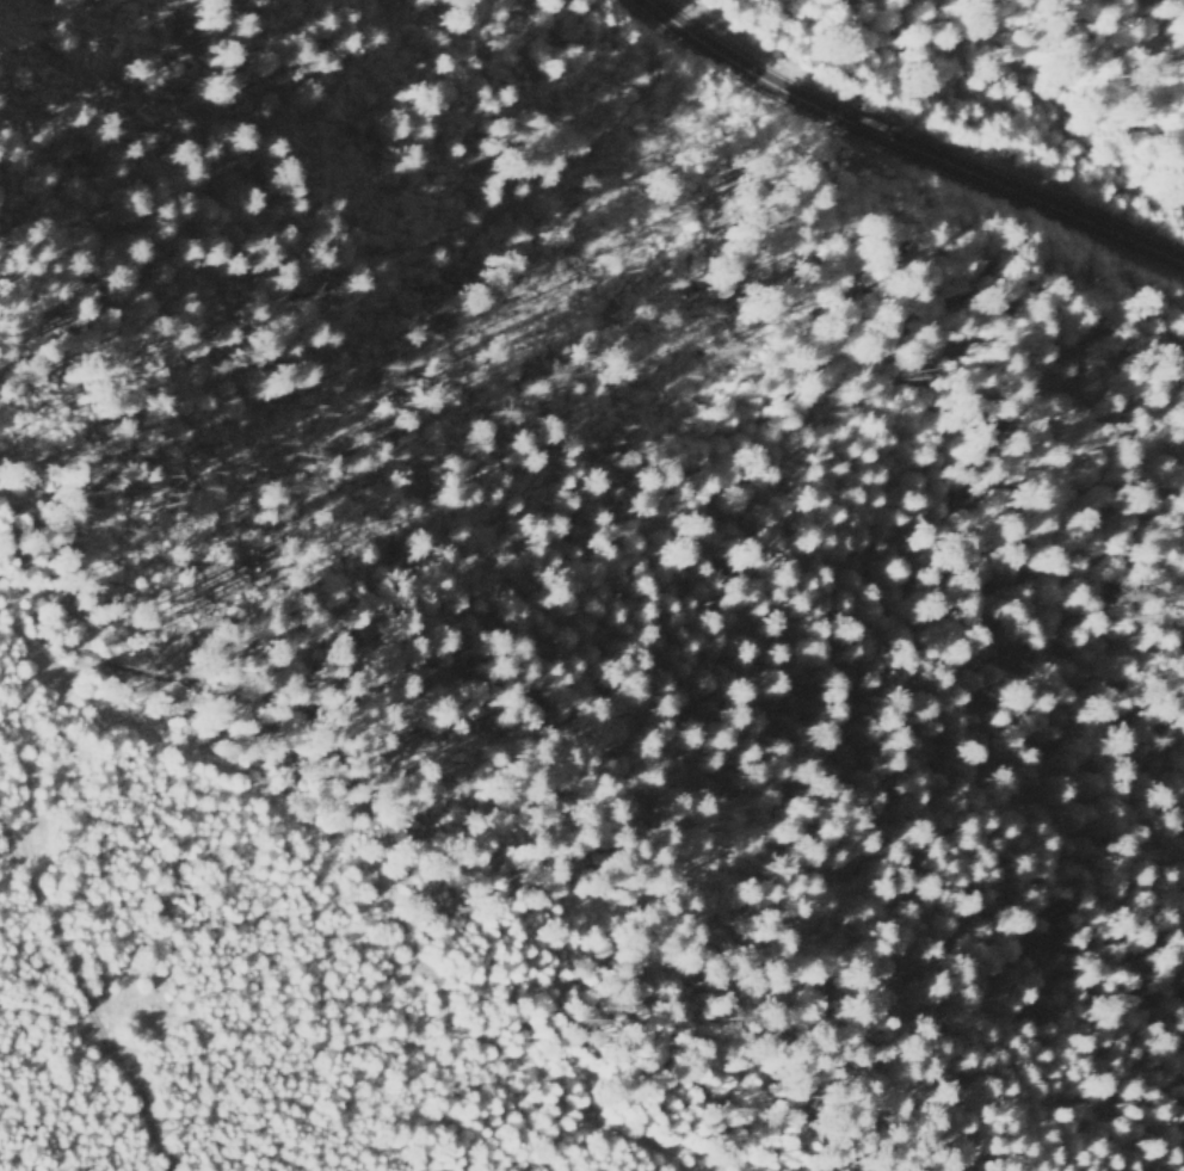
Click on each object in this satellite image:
road: (894, 152)

